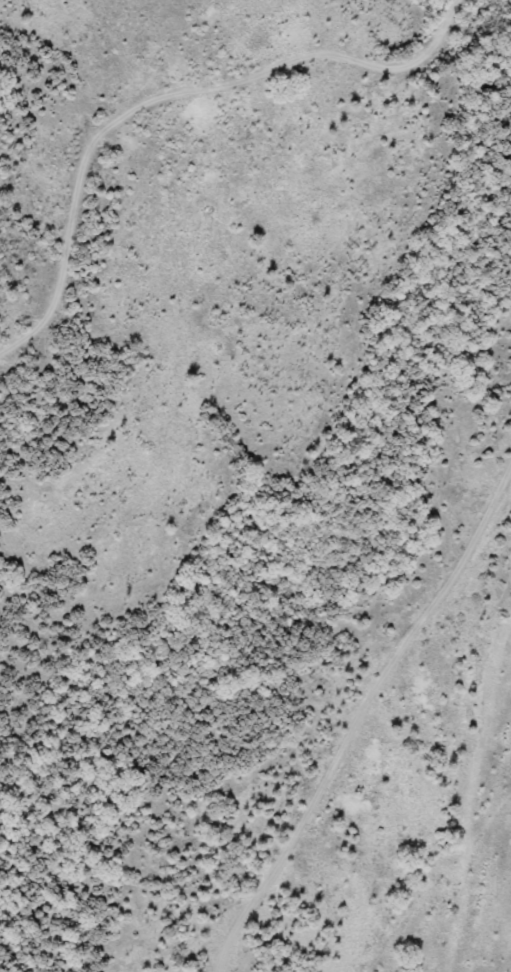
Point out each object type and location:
road: (364, 718)
airport: (490, 881)

